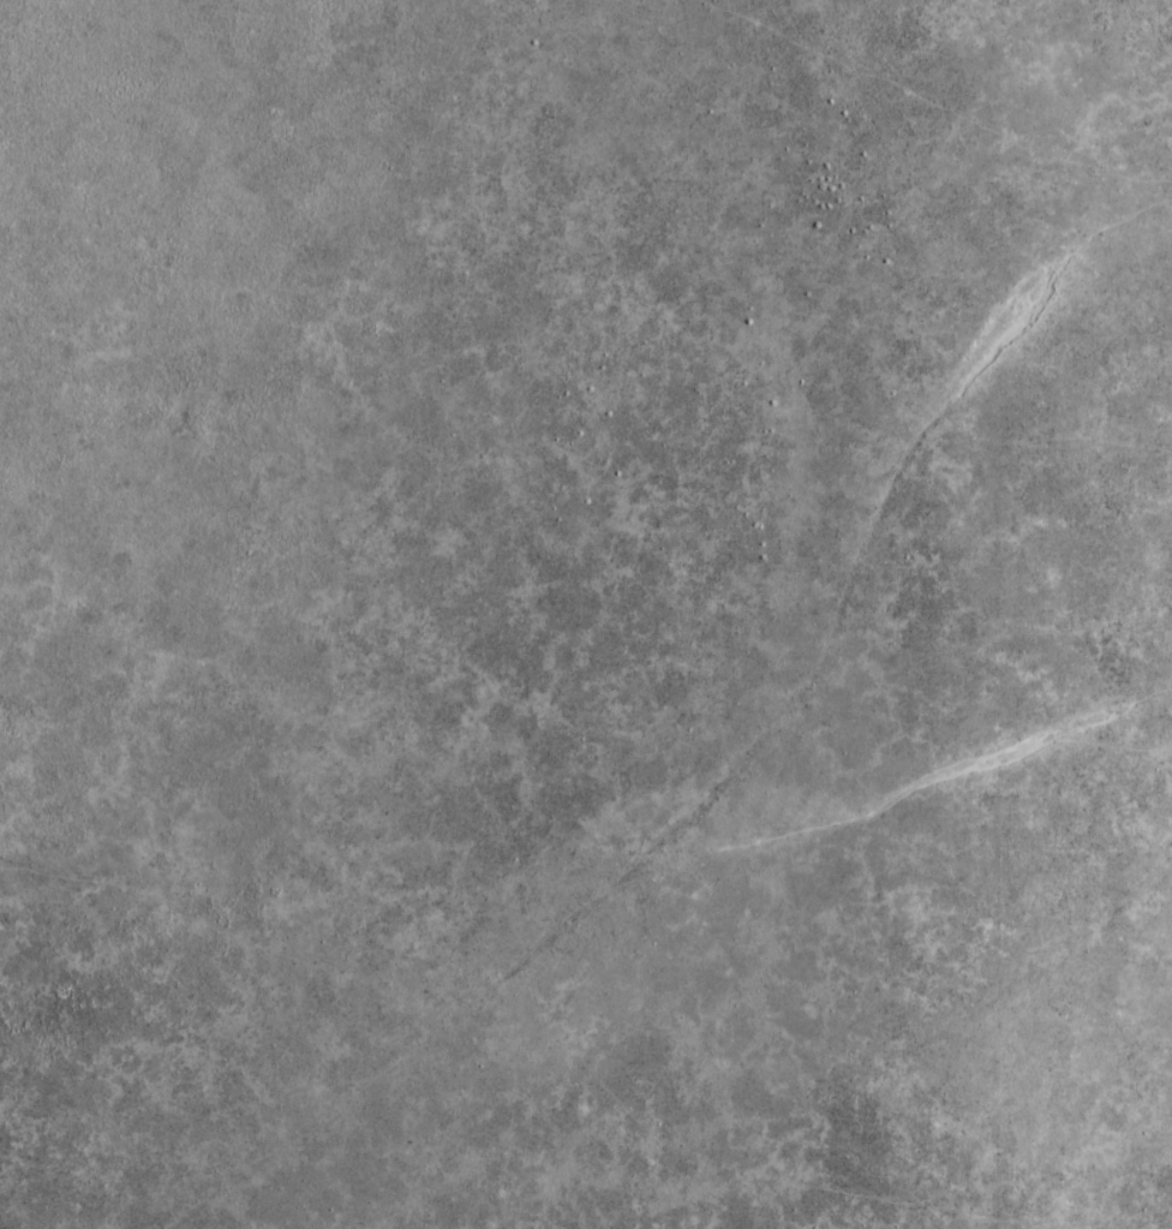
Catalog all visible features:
road: (1123, 1223)

